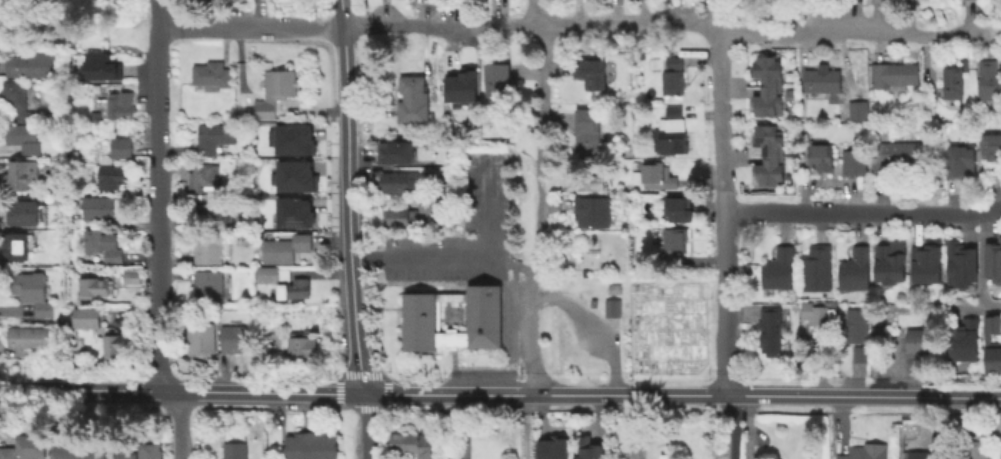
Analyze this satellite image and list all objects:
building: (976, 0)
building: (121, 1)
road: (535, 12)
road: (341, 13)
road: (352, 13)
road: (663, 21)
road: (249, 27)
road: (79, 35)
building: (32, 65)
building: (100, 66)
road: (344, 69)
building: (897, 71)
building: (674, 73)
building: (589, 74)
building: (210, 75)
building: (825, 77)
building: (991, 78)
building: (956, 79)
building: (497, 81)
building: (770, 82)
building: (462, 86)
building: (791, 90)
building: (276, 92)
building: (412, 98)
building: (19, 100)
building: (119, 103)
building: (861, 105)
road: (719, 106)
building: (94, 116)
building: (587, 129)
building: (216, 137)
building: (670, 138)
building: (27, 140)
building: (296, 140)
building: (992, 142)
road: (541, 148)
building: (770, 150)
building: (821, 153)
building: (899, 153)
building: (399, 155)
building: (962, 156)
building: (855, 158)
building: (105, 163)
road: (345, 172)
building: (657, 173)
building: (23, 175)
building: (203, 177)
building: (298, 177)
building: (400, 182)
building: (440, 185)
road: (157, 195)
building: (425, 205)
building: (102, 207)
building: (215, 208)
building: (683, 211)
building: (21, 213)
building: (593, 213)
building: (298, 214)
road: (861, 214)
building: (396, 217)
building: (675, 241)
building: (12, 246)
building: (102, 247)
building: (208, 248)
building: (286, 249)
road: (465, 258)
building: (890, 258)
building: (926, 258)
building: (992, 259)
building: (960, 260)
building: (816, 266)
building: (779, 267)
building: (855, 268)
building: (129, 276)
building: (269, 277)
building: (209, 285)
building: (92, 288)
building: (294, 289)
building: (616, 290)
building: (33, 292)
building: (584, 301)
building: (595, 304)
road: (724, 304)
building: (614, 309)
road: (351, 312)
building: (816, 312)
building: (419, 313)
building: (87, 318)
building: (857, 323)
road: (596, 325)
building: (770, 329)
road: (530, 334)
building: (963, 337)
building: (31, 338)
building: (201, 338)
building: (237, 338)
building: (918, 340)
building: (992, 342)
building: (298, 345)
building: (117, 346)
building: (861, 353)
road: (181, 390)
traffic signals: (363, 392)
road: (682, 394)
road: (183, 404)
road: (683, 407)
road: (178, 423)
road: (366, 425)
road: (528, 426)
road: (730, 426)
building: (411, 444)
building: (552, 446)
building: (999, 446)
building: (24, 447)
building: (314, 447)
building: (587, 447)
building: (234, 450)
building: (974, 450)
building: (147, 451)
building: (863, 451)
building: (86, 453)
building: (917, 453)

